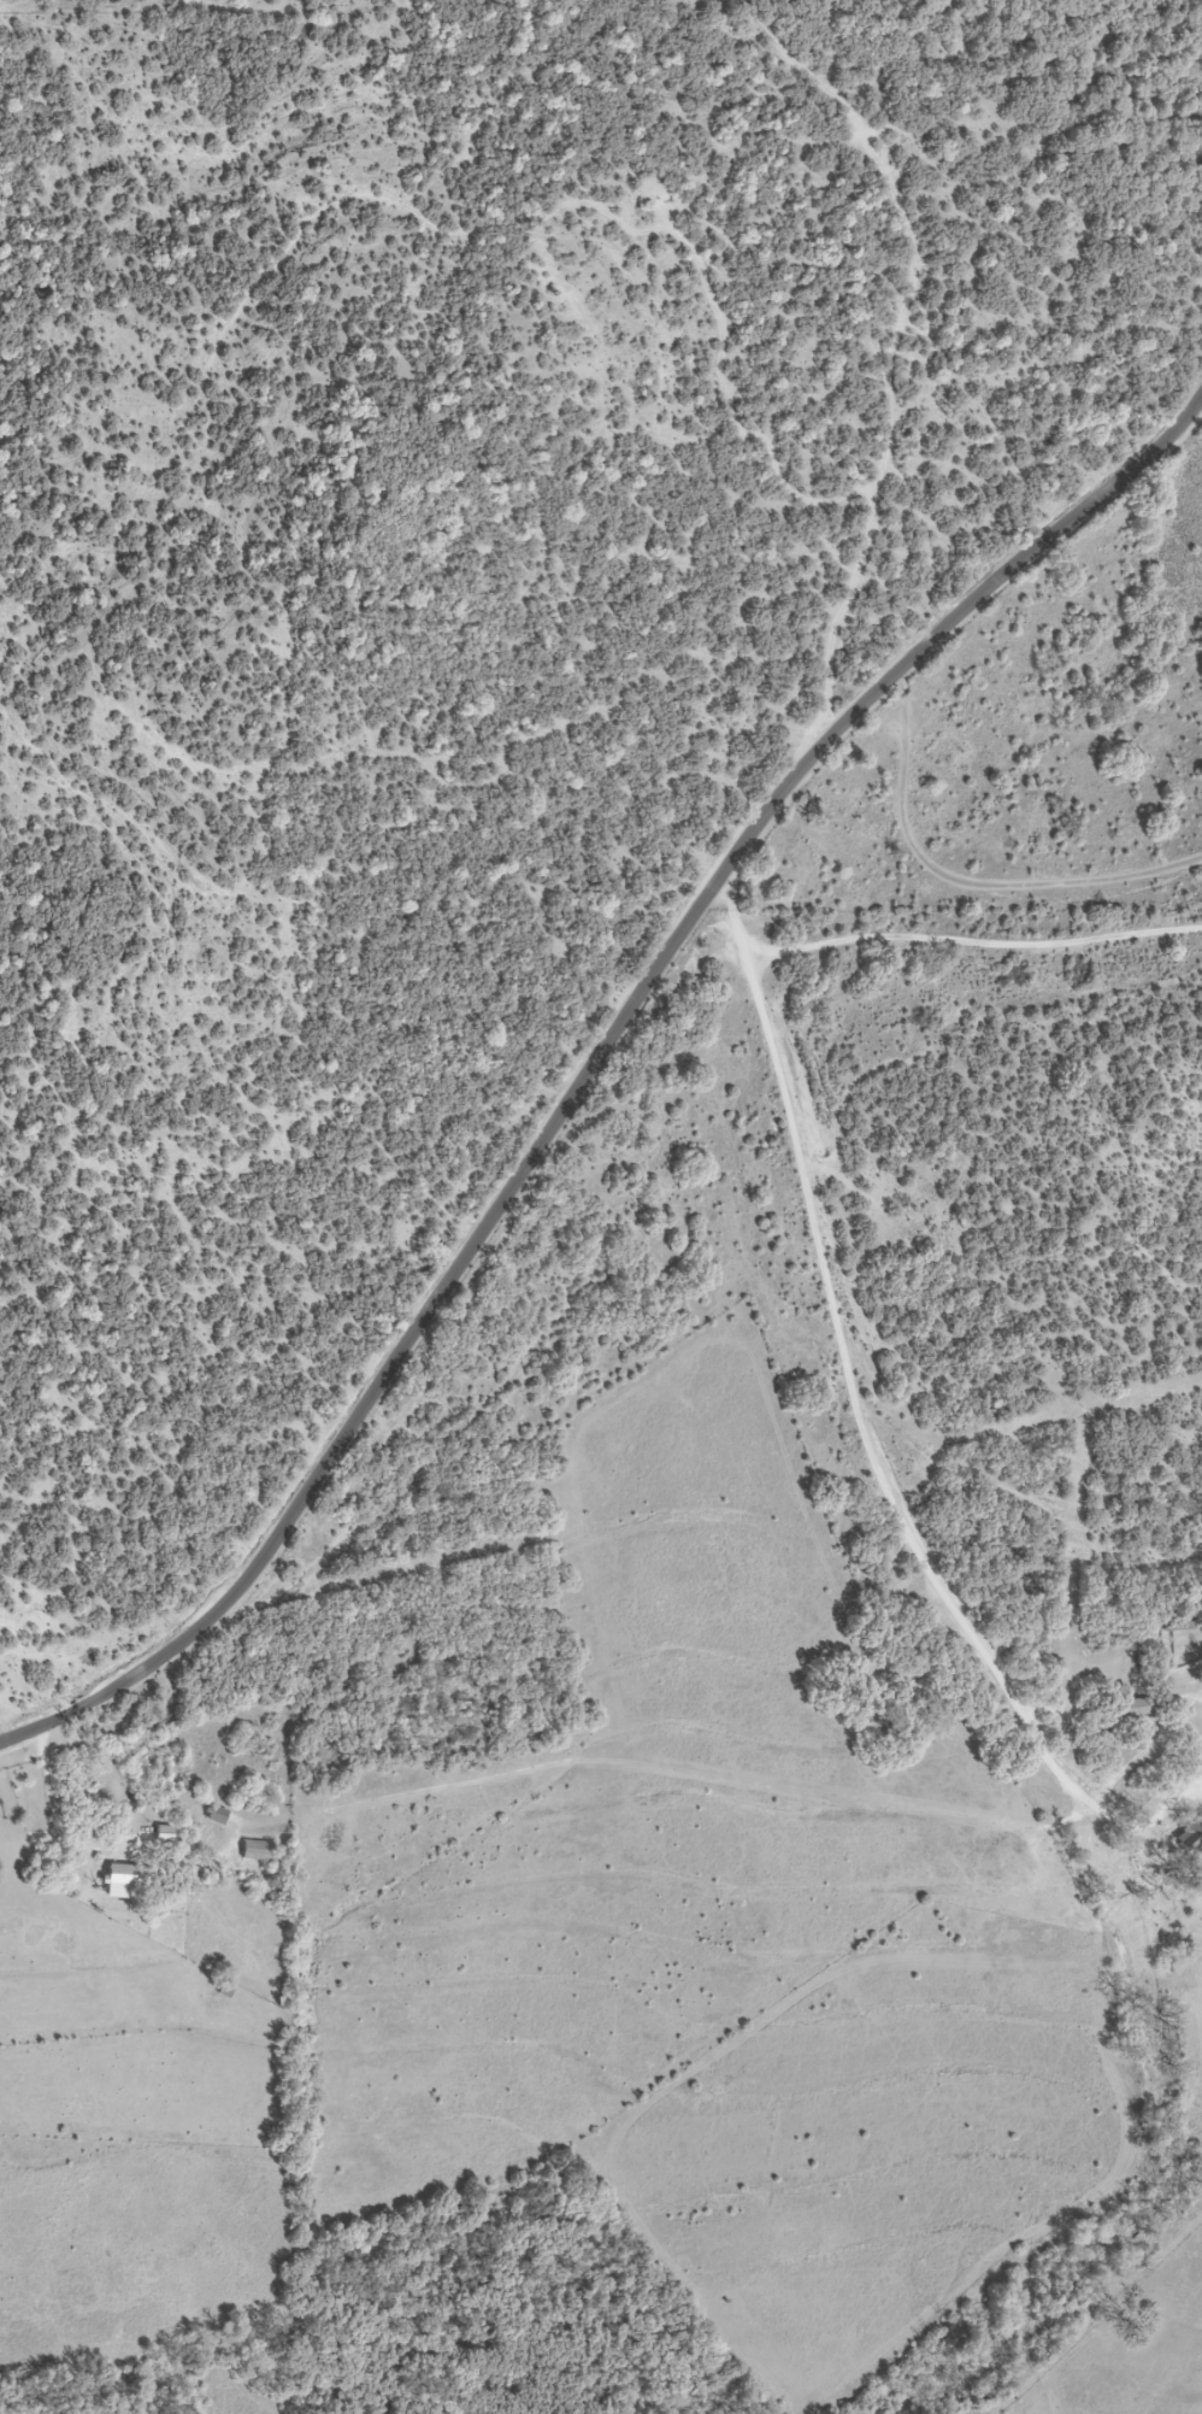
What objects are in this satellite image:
road: (958, 893)
road: (589, 1068)
road: (848, 1390)
building: (1132, 1708)
building: (218, 1816)
building: (1190, 1833)
building: (164, 1836)
building: (258, 1851)
building: (125, 1881)

